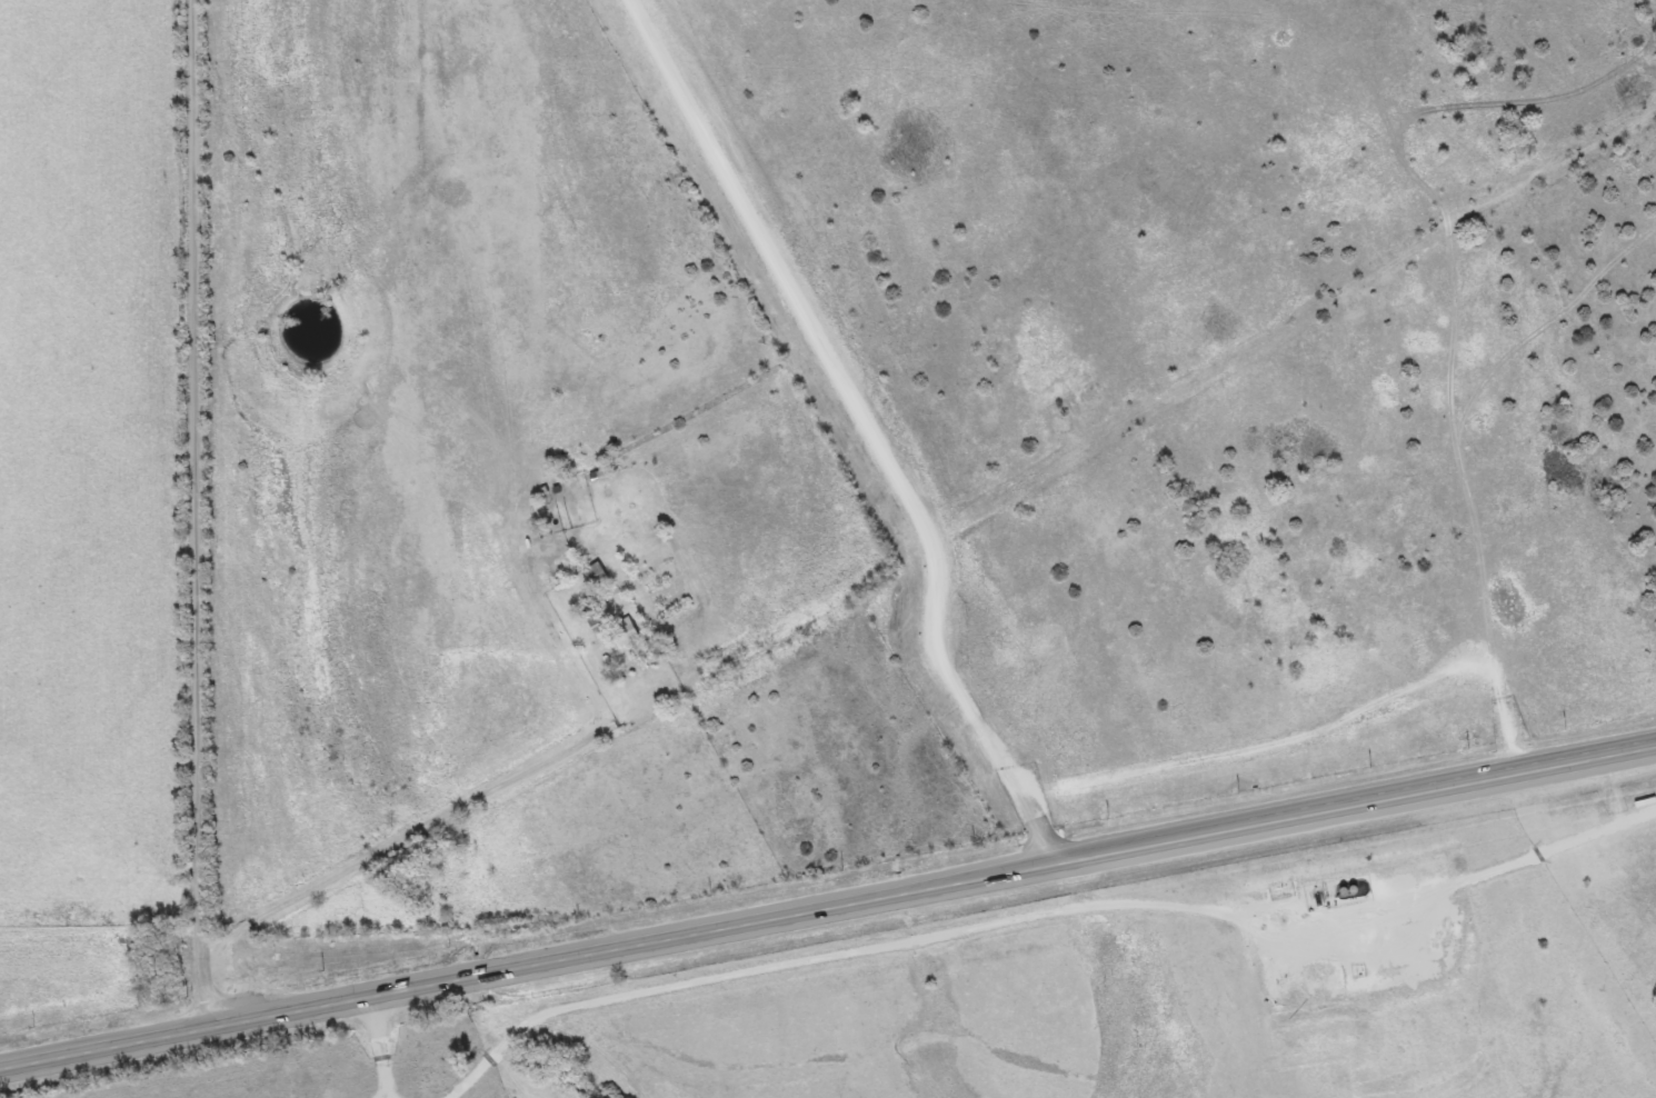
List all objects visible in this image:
road: (201, 513)
building: (590, 575)
building: (621, 633)
road: (438, 818)
road: (827, 908)
road: (852, 955)
road: (383, 1048)
road: (401, 1097)

